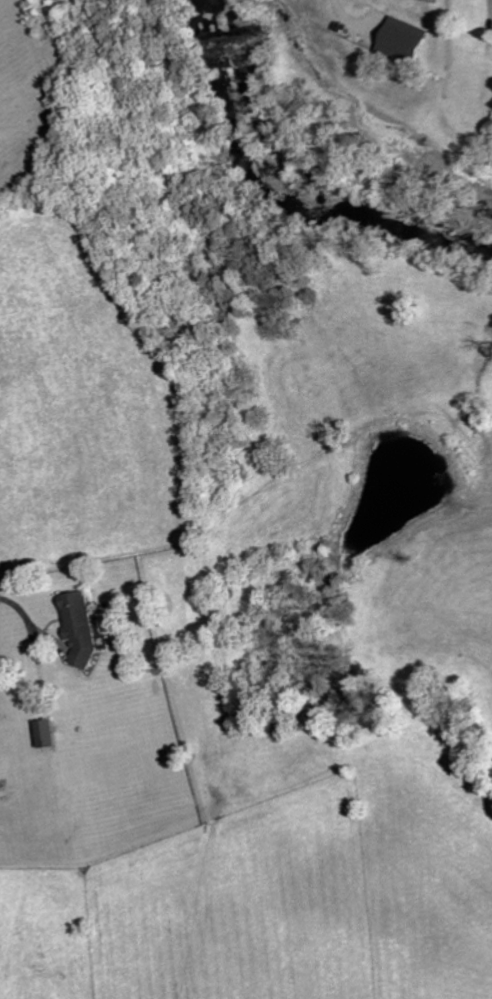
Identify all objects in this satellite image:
road: (343, 14)
building: (403, 42)
building: (80, 627)
building: (47, 732)

